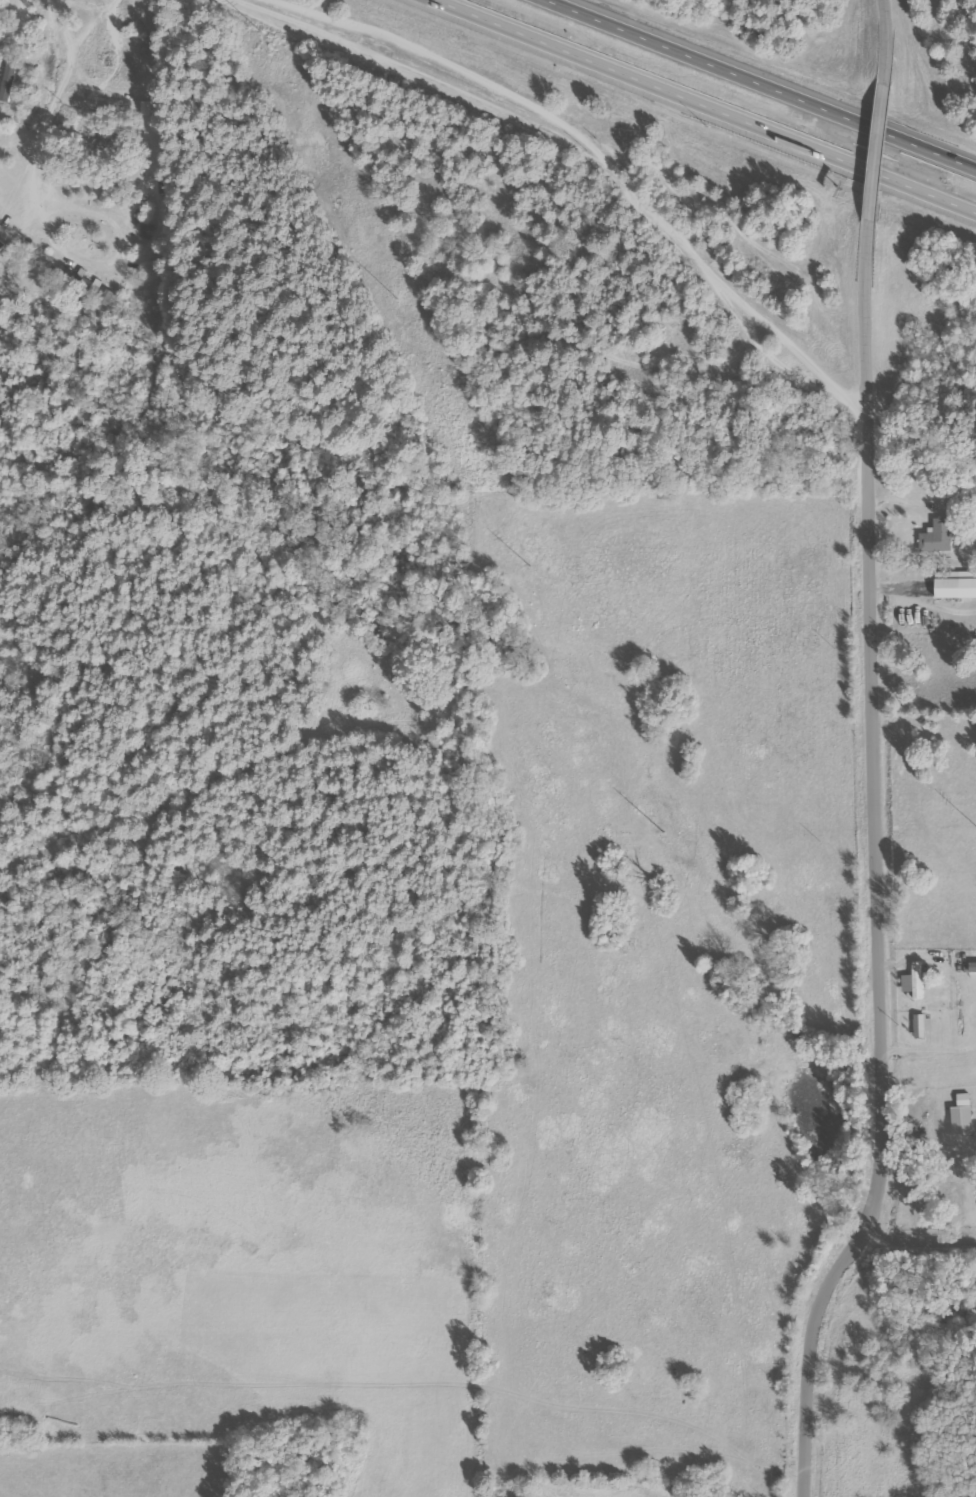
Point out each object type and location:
road: (892, 41)
road: (761, 84)
road: (709, 105)
road: (582, 151)
road: (885, 152)
building: (936, 536)
building: (954, 584)
road: (875, 867)
building: (972, 967)
building: (913, 981)
building: (922, 1025)
building: (961, 1115)
road: (877, 1243)
road: (932, 1244)

